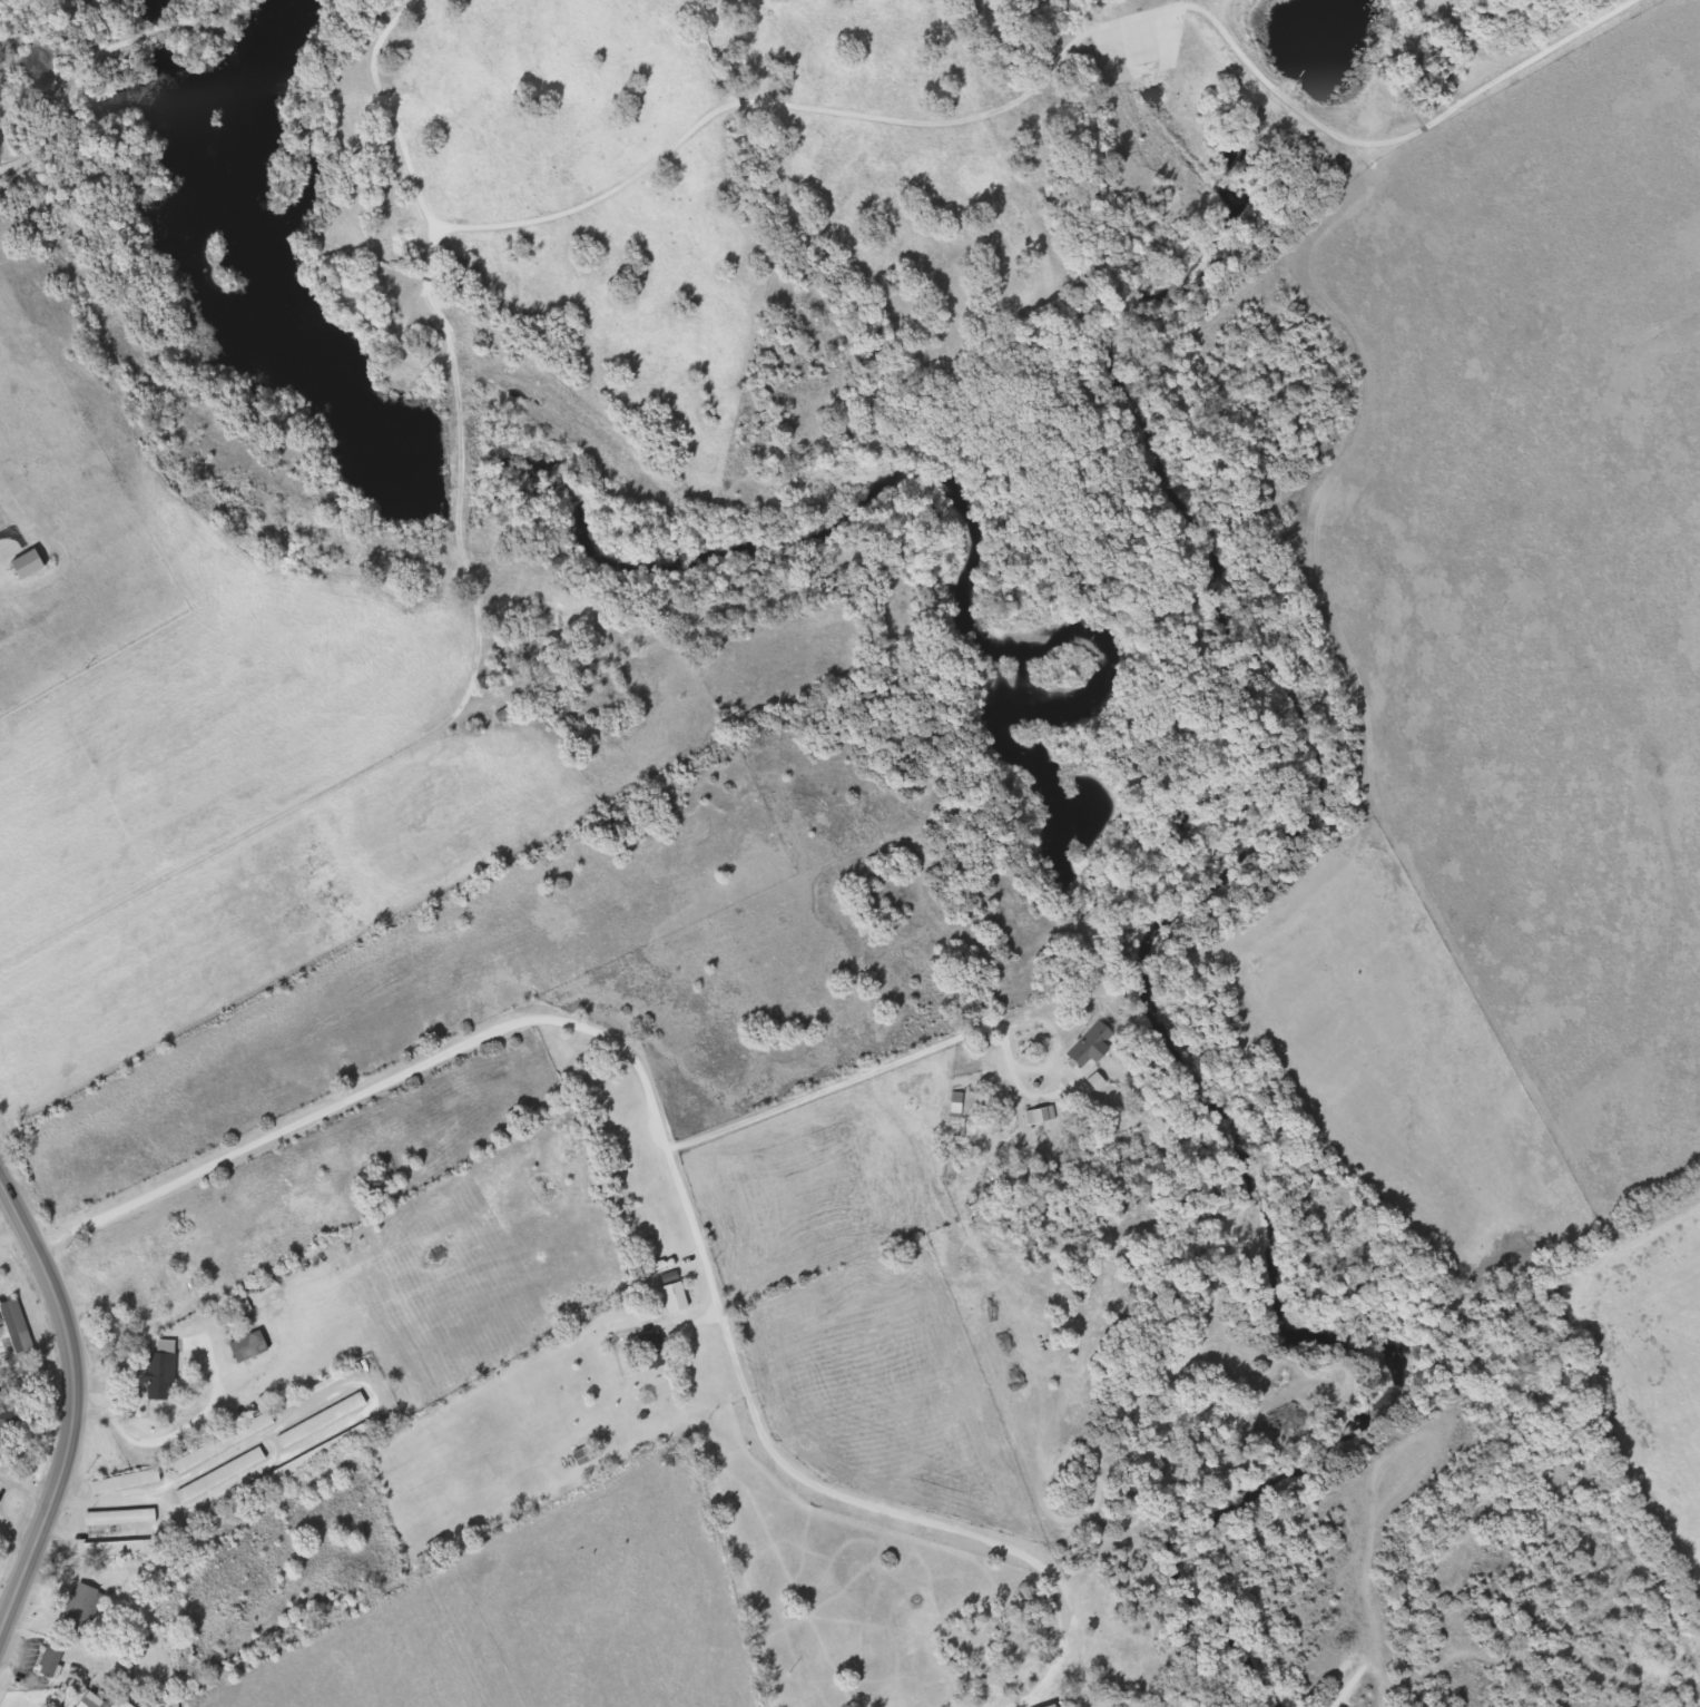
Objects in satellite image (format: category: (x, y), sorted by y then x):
road: (55, 118)
road: (687, 119)
road: (1389, 128)
road: (462, 462)
building: (32, 566)
building: (549, 612)
road: (233, 835)
building: (1095, 1044)
road: (451, 1052)
road: (893, 1065)
building: (959, 1105)
road: (109, 1218)
road: (12, 1233)
building: (659, 1233)
building: (676, 1294)
building: (19, 1346)
building: (253, 1347)
building: (657, 1351)
building: (164, 1376)
road: (75, 1402)
road: (372, 1404)
building: (9, 1422)
road: (166, 1435)
building: (227, 1443)
building: (313, 1460)
building: (0, 1473)
building: (225, 1475)
building: (129, 1482)
road: (836, 1492)
road: (0, 1493)
building: (124, 1518)
building: (119, 1549)
building: (87, 1601)
building: (56, 1659)
building: (96, 1701)
building: (125, 1704)

